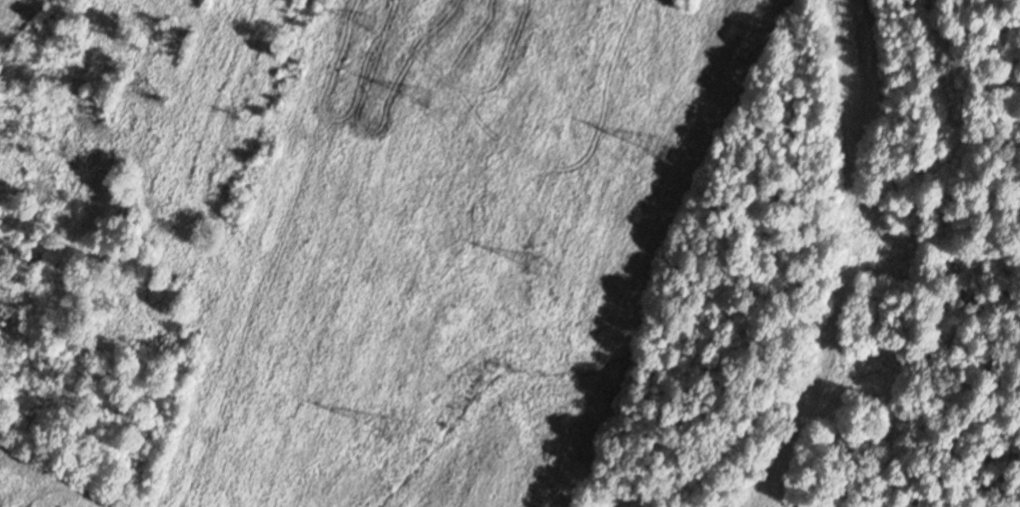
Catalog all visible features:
power tower: (365, 22)
power tower: (427, 94)
power tower: (662, 146)
power tower: (535, 264)
power tower: (387, 426)

